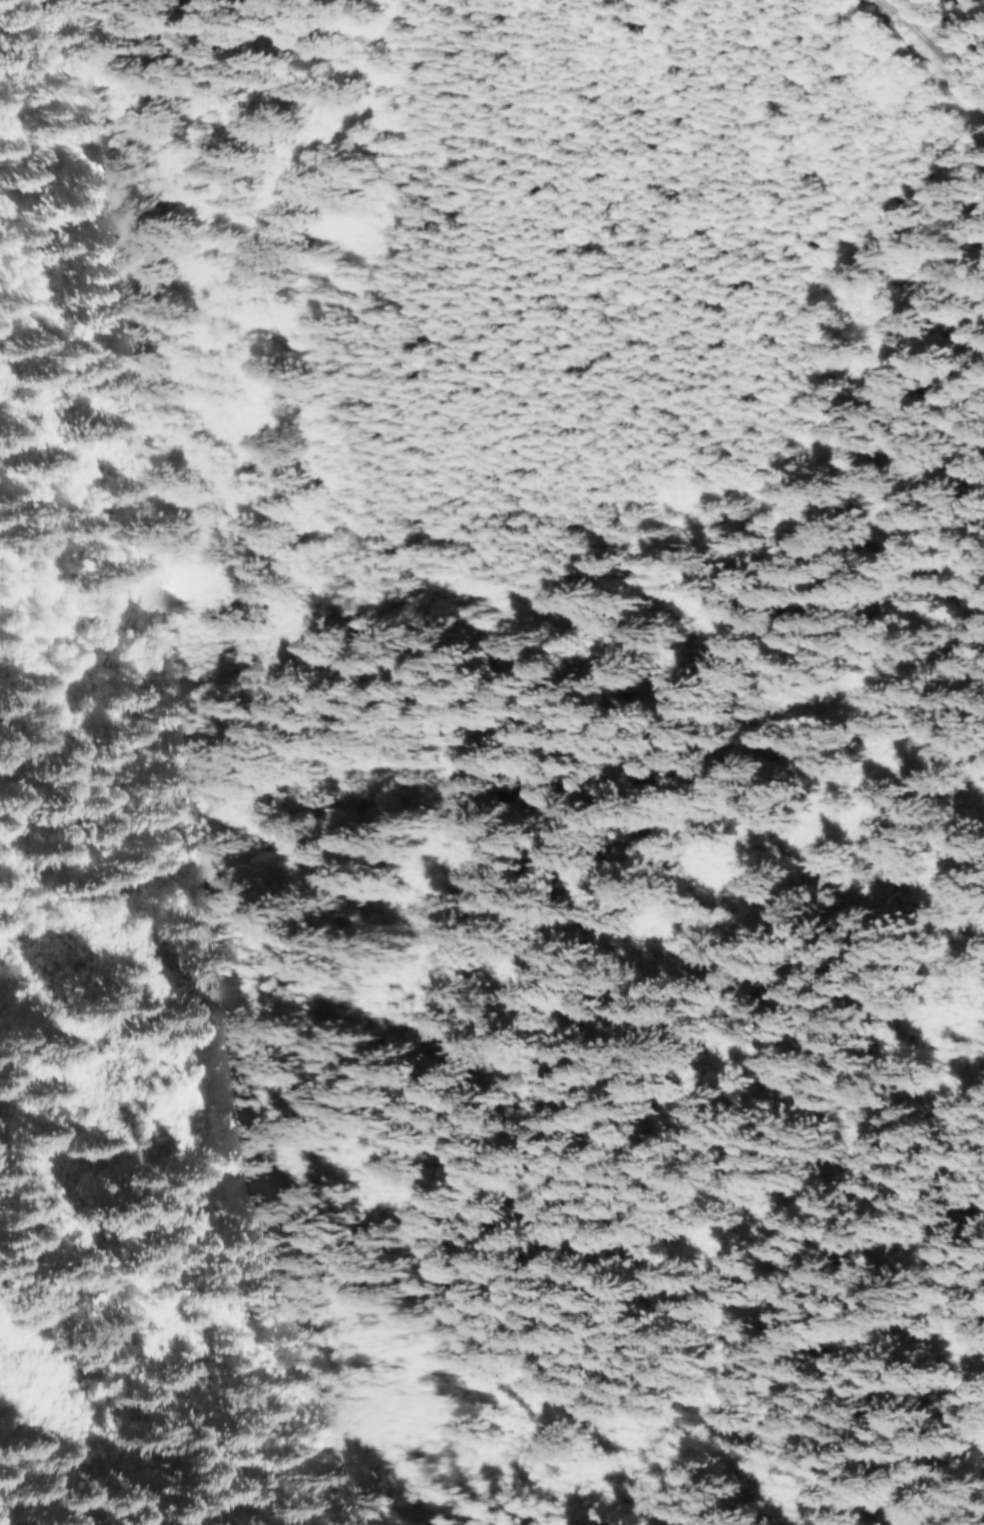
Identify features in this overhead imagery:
road: (933, 51)

